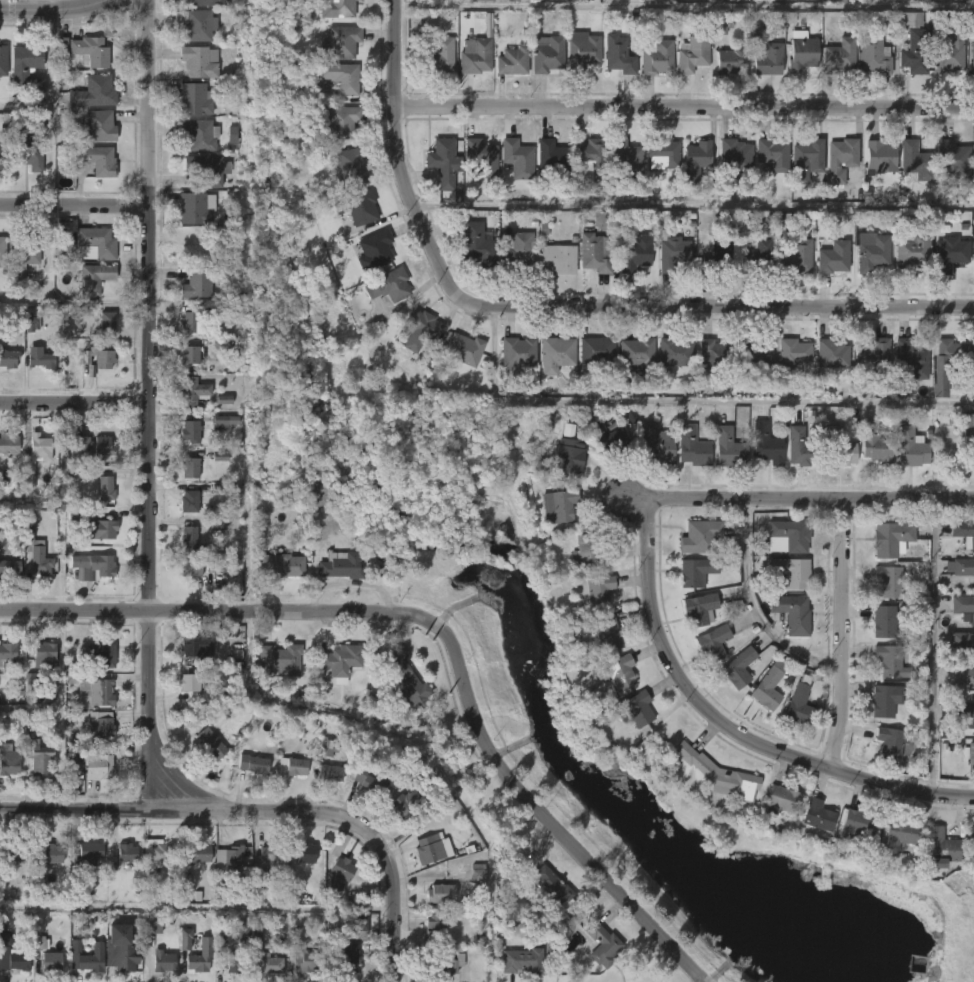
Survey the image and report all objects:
building: (482, 0)
building: (209, 2)
road: (53, 4)
road: (54, 9)
building: (337, 9)
building: (194, 24)
building: (719, 26)
building: (756, 27)
building: (911, 42)
building: (340, 43)
building: (584, 47)
building: (89, 51)
building: (947, 52)
building: (693, 53)
building: (548, 54)
building: (618, 54)
building: (803, 54)
building: (874, 55)
building: (440, 56)
building: (657, 56)
building: (476, 57)
building: (840, 57)
building: (972, 58)
building: (731, 59)
building: (2, 60)
building: (768, 60)
building: (512, 61)
building: (199, 62)
building: (23, 63)
building: (340, 78)
building: (93, 91)
building: (194, 99)
road: (684, 105)
road: (25, 106)
road: (51, 106)
building: (337, 123)
building: (99, 125)
building: (199, 134)
road: (402, 144)
building: (662, 153)
building: (4, 154)
building: (26, 154)
building: (773, 154)
building: (589, 155)
building: (479, 157)
building: (518, 157)
building: (553, 157)
building: (95, 158)
building: (876, 158)
building: (625, 159)
building: (806, 159)
building: (953, 159)
building: (734, 160)
building: (695, 161)
building: (913, 161)
building: (972, 161)
building: (442, 162)
building: (840, 163)
building: (350, 167)
building: (208, 170)
road: (74, 204)
road: (696, 205)
building: (195, 208)
building: (356, 209)
building: (768, 226)
building: (796, 230)
building: (97, 240)
building: (480, 245)
building: (374, 249)
building: (911, 250)
building: (2, 251)
building: (518, 251)
building: (593, 252)
building: (672, 252)
building: (869, 252)
building: (635, 253)
building: (947, 253)
building: (755, 255)
building: (798, 256)
building: (717, 257)
building: (561, 258)
building: (833, 258)
building: (23, 259)
building: (973, 261)
building: (96, 278)
building: (200, 282)
building: (389, 284)
road: (708, 303)
building: (195, 322)
building: (109, 323)
building: (30, 324)
building: (423, 330)
building: (464, 348)
building: (518, 352)
building: (595, 352)
building: (673, 352)
building: (556, 353)
building: (790, 353)
building: (189, 354)
building: (634, 355)
building: (712, 355)
building: (751, 355)
building: (828, 355)
building: (870, 357)
building: (8, 358)
building: (100, 358)
building: (908, 359)
building: (43, 360)
building: (947, 363)
building: (194, 391)
building: (224, 400)
road: (690, 401)
road: (74, 403)
building: (225, 421)
building: (190, 430)
building: (969, 435)
building: (610, 440)
building: (8, 443)
building: (656, 443)
building: (766, 443)
building: (874, 443)
building: (103, 445)
building: (693, 446)
building: (729, 447)
building: (834, 447)
building: (38, 448)
building: (799, 448)
building: (909, 448)
building: (567, 456)
building: (188, 467)
building: (29, 474)
building: (105, 488)
road: (810, 497)
building: (189, 501)
building: (559, 505)
building: (98, 529)
building: (963, 533)
building: (788, 534)
building: (699, 537)
building: (190, 540)
building: (889, 540)
building: (587, 550)
building: (37, 555)
building: (284, 565)
building: (342, 565)
building: (197, 566)
building: (10, 567)
building: (91, 567)
building: (962, 568)
building: (696, 571)
building: (790, 571)
road: (149, 577)
building: (890, 582)
building: (600, 591)
road: (754, 606)
building: (963, 607)
building: (699, 609)
building: (792, 613)
building: (882, 622)
road: (446, 627)
road: (843, 630)
building: (609, 634)
building: (713, 642)
road: (932, 643)
building: (962, 645)
building: (195, 646)
building: (7, 652)
building: (99, 653)
building: (43, 655)
building: (282, 660)
building: (339, 661)
building: (889, 662)
building: (736, 668)
building: (620, 670)
building: (964, 678)
building: (407, 680)
building: (194, 683)
building: (764, 690)
building: (98, 691)
building: (885, 700)
building: (798, 702)
road: (61, 708)
building: (640, 708)
road: (30, 710)
building: (964, 715)
road: (737, 723)
building: (100, 729)
building: (889, 742)
building: (211, 744)
building: (326, 748)
building: (35, 750)
building: (968, 756)
building: (8, 759)
building: (253, 764)
building: (96, 766)
building: (292, 766)
building: (330, 772)
building: (717, 774)
building: (372, 778)
building: (408, 796)
building: (778, 799)
road: (110, 807)
building: (817, 816)
building: (855, 823)
building: (897, 836)
building: (969, 836)
building: (940, 847)
building: (432, 849)
building: (163, 851)
building: (202, 852)
building: (275, 852)
building: (308, 852)
building: (13, 853)
building: (126, 853)
building: (50, 854)
building: (236, 854)
building: (85, 855)
building: (338, 876)
building: (478, 876)
building: (260, 879)
building: (132, 881)
building: (553, 884)
building: (444, 893)
road: (198, 907)
building: (437, 925)
building: (362, 927)
building: (185, 939)
building: (40, 942)
building: (601, 945)
building: (119, 949)
building: (87, 956)
building: (200, 957)
building: (308, 959)
building: (350, 959)
building: (20, 960)
building: (166, 961)
building: (525, 961)
building: (50, 962)
building: (236, 963)
building: (272, 963)
building: (455, 963)

